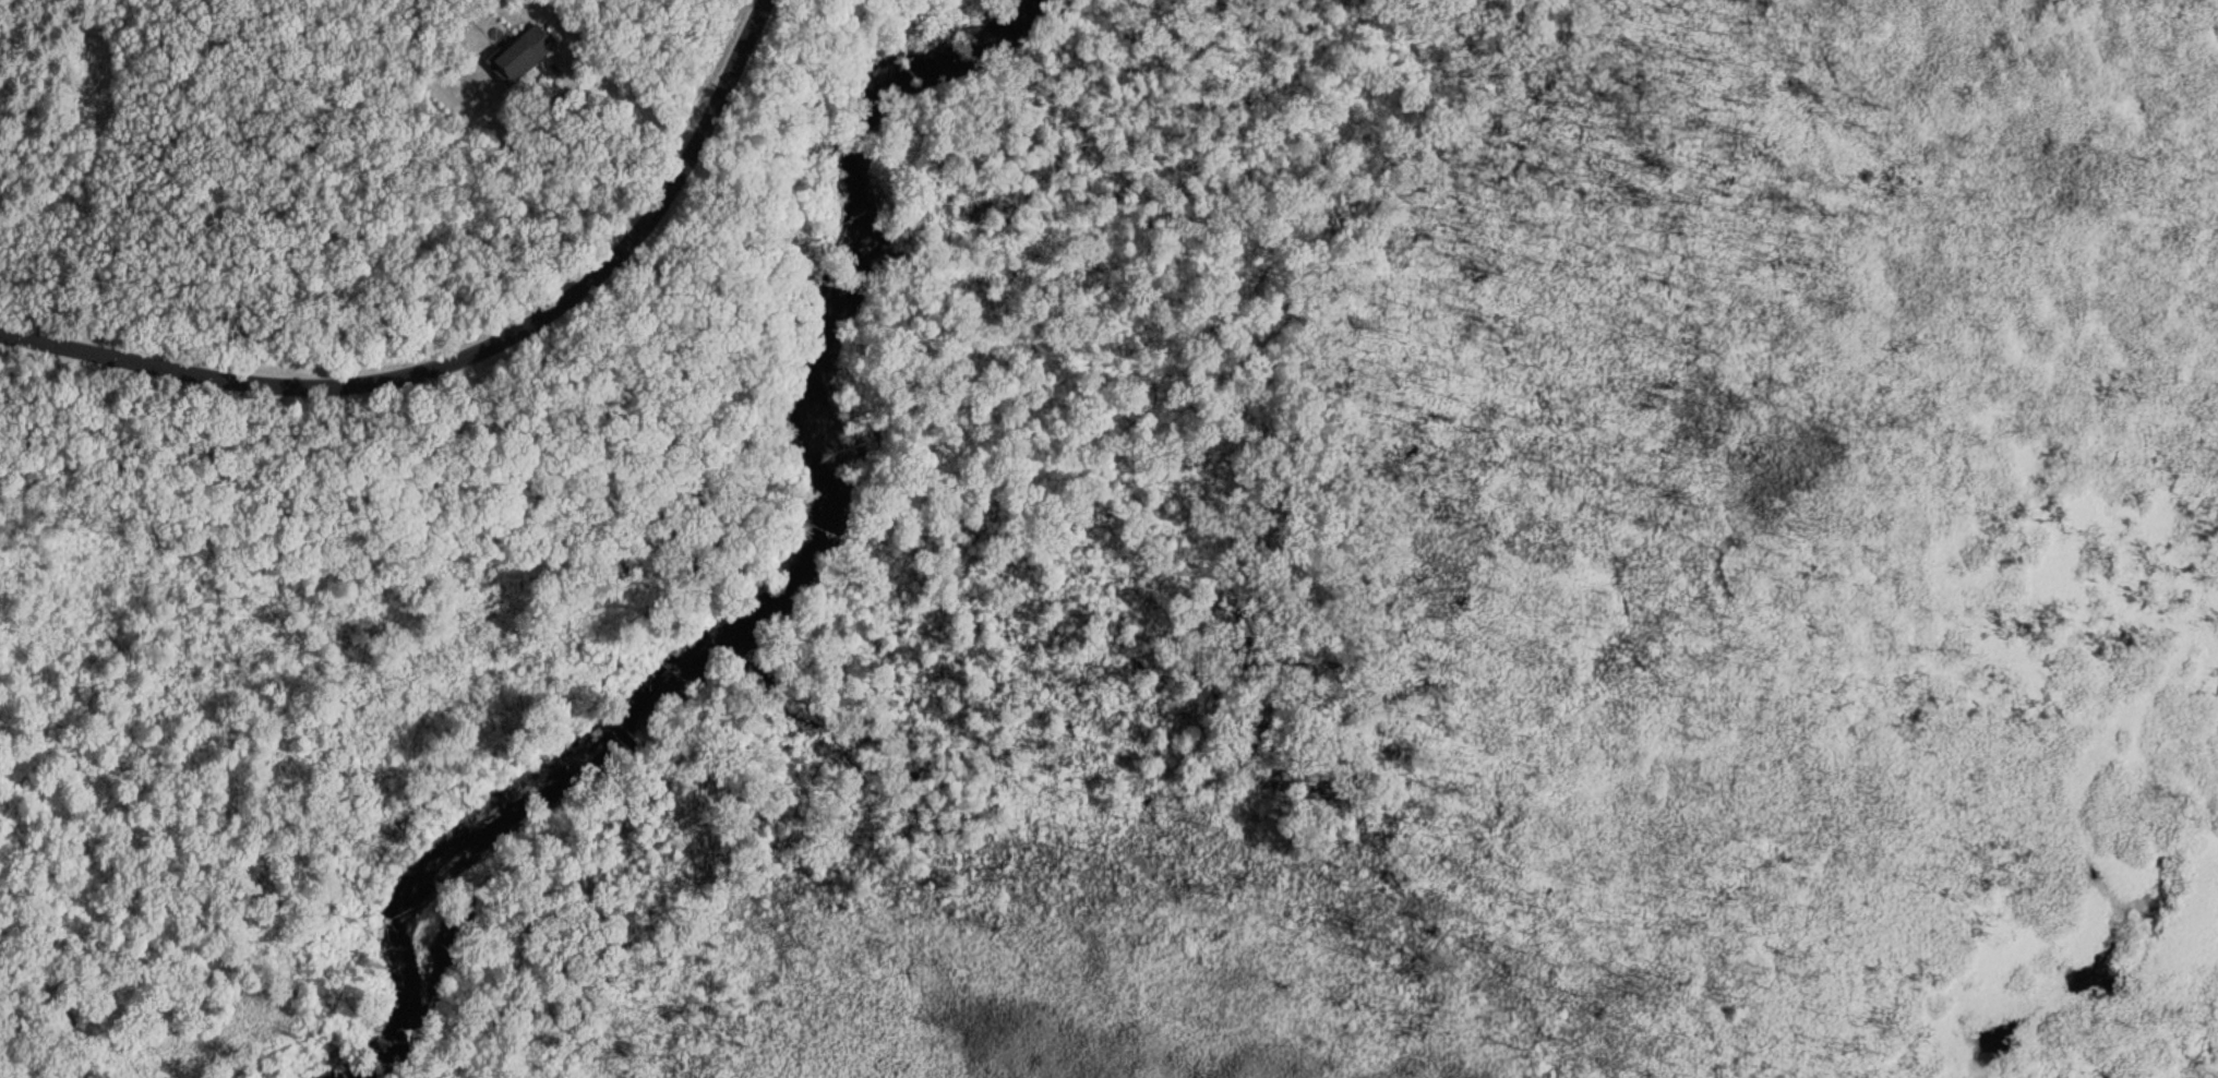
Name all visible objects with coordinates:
building: (524, 53)
road: (621, 96)
road: (454, 340)

